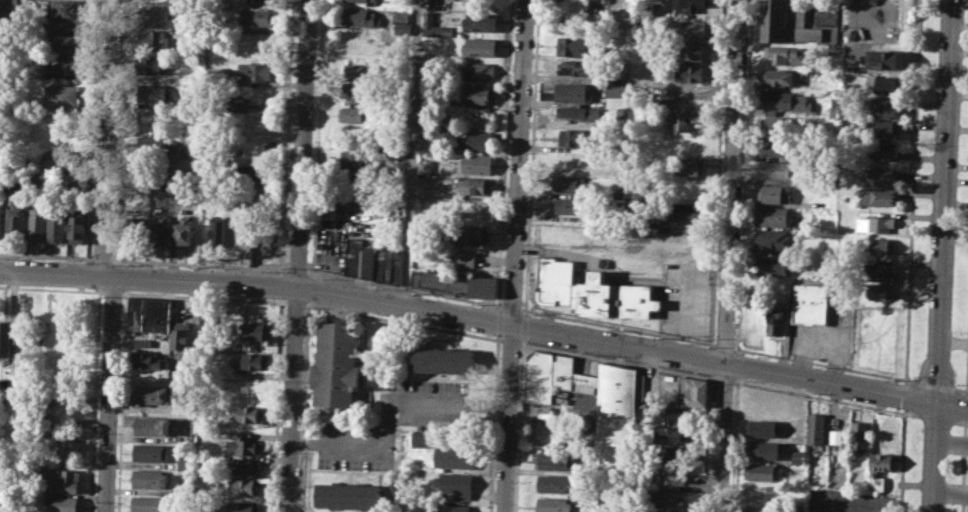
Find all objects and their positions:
building: (254, 0)
building: (363, 0)
building: (555, 0)
building: (593, 1)
building: (621, 1)
building: (370, 2)
building: (689, 5)
building: (70, 8)
building: (645, 8)
building: (8, 11)
building: (161, 15)
building: (361, 16)
building: (400, 16)
building: (256, 18)
building: (480, 20)
building: (786, 23)
building: (434, 26)
building: (403, 28)
building: (692, 28)
building: (155, 39)
building: (258, 41)
building: (65, 42)
building: (479, 46)
building: (576, 46)
building: (693, 50)
building: (785, 54)
building: (884, 59)
building: (65, 62)
building: (153, 63)
building: (575, 67)
street lamp: (936, 68)
building: (361, 70)
building: (478, 70)
building: (256, 71)
building: (219, 72)
building: (693, 73)
building: (781, 77)
building: (884, 83)
building: (154, 92)
building: (572, 92)
building: (479, 93)
building: (358, 94)
building: (617, 94)
building: (61, 95)
building: (234, 102)
building: (785, 102)
building: (836, 106)
building: (885, 107)
building: (582, 113)
building: (355, 114)
building: (153, 119)
building: (687, 119)
building: (252, 122)
building: (776, 124)
building: (880, 129)
building: (573, 137)
road: (106, 138)
building: (474, 140)
building: (685, 142)
street lamp: (933, 144)
building: (158, 145)
building: (775, 145)
building: (884, 151)
road: (411, 152)
road: (504, 152)
road: (531, 155)
building: (59, 159)
building: (355, 159)
building: (569, 161)
building: (476, 163)
building: (687, 165)
building: (426, 167)
building: (617, 168)
building: (777, 169)
building: (260, 173)
building: (880, 175)
building: (35, 180)
building: (567, 183)
building: (76, 184)
building: (476, 186)
building: (165, 190)
road: (913, 191)
building: (774, 192)
building: (260, 193)
building: (880, 197)
building: (566, 204)
building: (687, 211)
building: (772, 215)
building: (0, 216)
building: (16, 224)
building: (37, 224)
building: (875, 224)
street lamp: (929, 224)
building: (56, 225)
building: (77, 226)
building: (217, 229)
building: (140, 230)
building: (184, 230)
building: (162, 231)
building: (235, 231)
building: (472, 234)
building: (773, 239)
building: (880, 246)
road: (46, 255)
road: (298, 255)
building: (353, 255)
building: (246, 256)
road: (515, 256)
road: (729, 256)
road: (943, 256)
road: (101, 258)
building: (466, 258)
building: (368, 261)
road: (199, 263)
building: (388, 265)
building: (772, 266)
road: (297, 267)
building: (878, 271)
road: (57, 273)
building: (554, 280)
road: (685, 281)
building: (455, 283)
road: (403, 287)
road: (52, 289)
road: (113, 292)
building: (880, 292)
road: (204, 296)
parking lot: (684, 297)
building: (615, 298)
street lamp: (926, 298)
road: (295, 300)
building: (809, 303)
road: (511, 310)
building: (150, 314)
building: (774, 319)
road: (403, 321)
road: (500, 322)
road: (617, 326)
road: (522, 327)
road: (543, 328)
building: (257, 331)
building: (180, 335)
building: (5, 338)
road: (510, 338)
building: (143, 341)
street lamp: (686, 343)
road: (723, 345)
street lamp: (740, 352)
building: (150, 360)
building: (251, 360)
building: (443, 360)
road: (617, 361)
road: (823, 363)
building: (337, 366)
street lamp: (817, 366)
road: (966, 368)
street lamp: (916, 376)
road: (723, 377)
street lamp: (887, 378)
road: (934, 385)
road: (961, 390)
building: (691, 391)
road: (111, 393)
building: (152, 394)
road: (905, 395)
road: (826, 398)
road: (965, 406)
road: (388, 409)
building: (248, 414)
building: (670, 415)
road: (937, 418)
parking lot: (393, 422)
road: (960, 423)
building: (153, 425)
road: (518, 427)
building: (763, 427)
street lamp: (921, 427)
building: (816, 428)
building: (670, 434)
building: (613, 436)
building: (835, 436)
building: (859, 437)
building: (419, 438)
road: (952, 441)
building: (67, 446)
building: (242, 446)
road: (734, 447)
building: (765, 449)
building: (150, 451)
building: (669, 453)
building: (796, 456)
building: (455, 457)
building: (555, 460)
road: (902, 460)
building: (883, 462)
building: (244, 465)
road: (963, 465)
building: (759, 471)
building: (668, 473)
building: (149, 478)
building: (63, 481)
building: (877, 482)
building: (553, 484)
building: (454, 485)
building: (245, 486)
building: (762, 492)
road: (951, 494)
building: (349, 495)
parking lot: (849, 500)
building: (666, 501)
building: (60, 503)
building: (147, 504)
building: (4, 505)
building: (553, 505)
street lamp: (918, 505)
building: (241, 506)
building: (410, 506)
building: (453, 508)
building: (756, 511)

